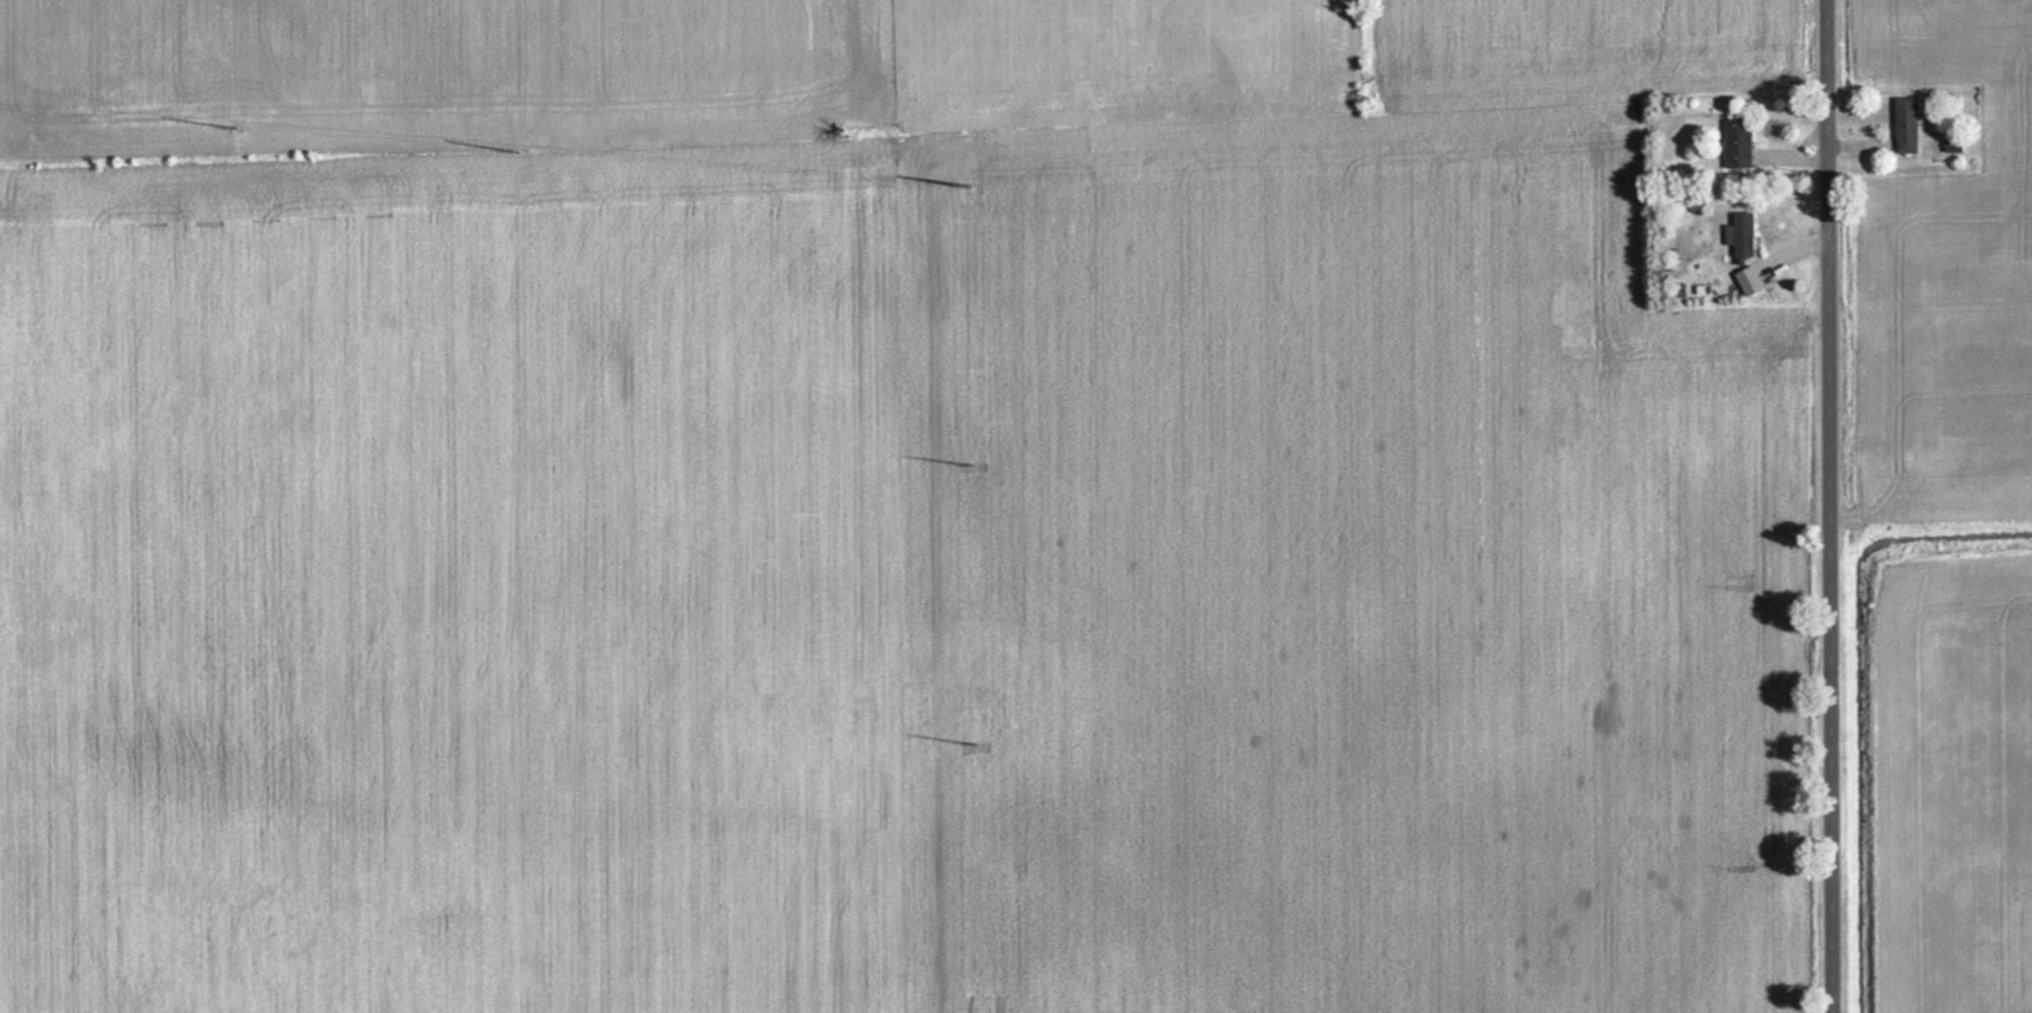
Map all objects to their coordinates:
power tower: (234, 123)
building: (1903, 125)
building: (1735, 144)
power tower: (520, 151)
power tower: (971, 183)
building: (1740, 237)
power tower: (974, 467)
road: (1835, 506)
power tower: (973, 739)

